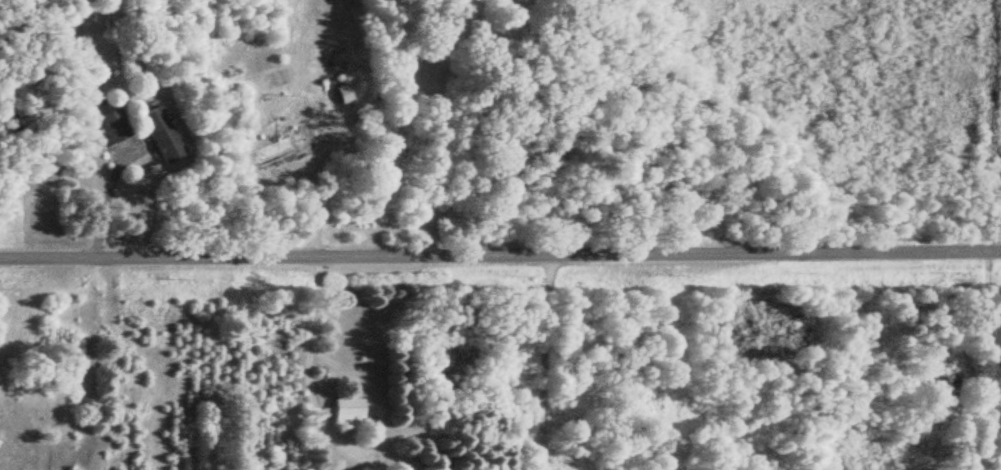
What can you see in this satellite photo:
building: (106, 127)
building: (157, 135)
building: (283, 145)
road: (500, 257)
road: (994, 296)
road: (576, 364)
building: (344, 413)

